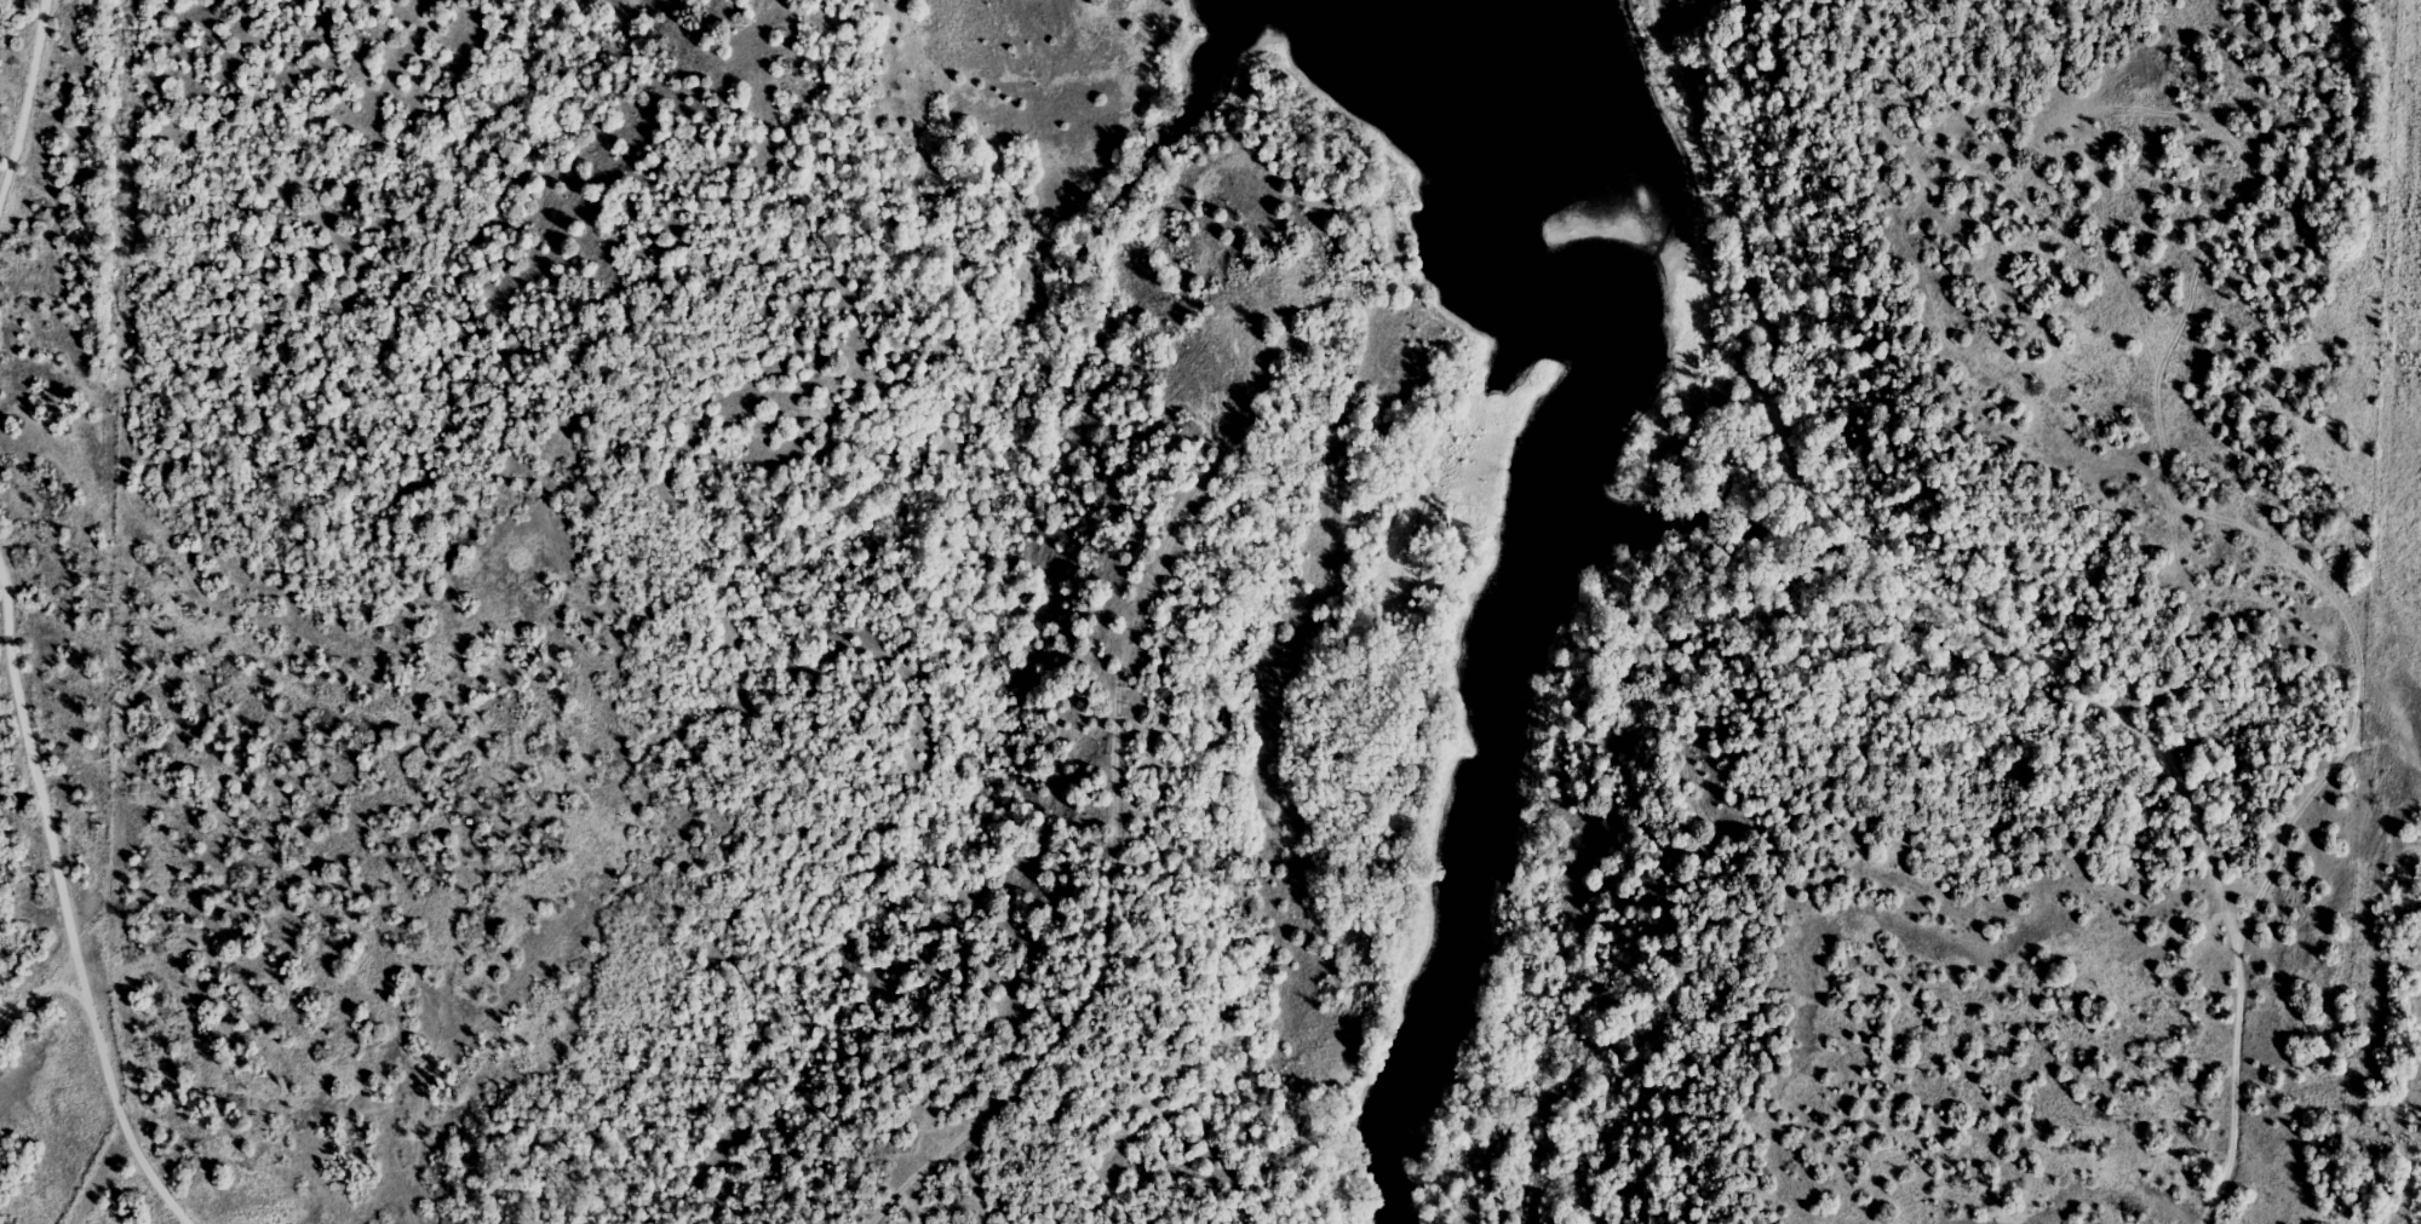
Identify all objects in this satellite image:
road: (16, 98)
road: (1992, 610)
road: (1114, 782)
road: (69, 919)

